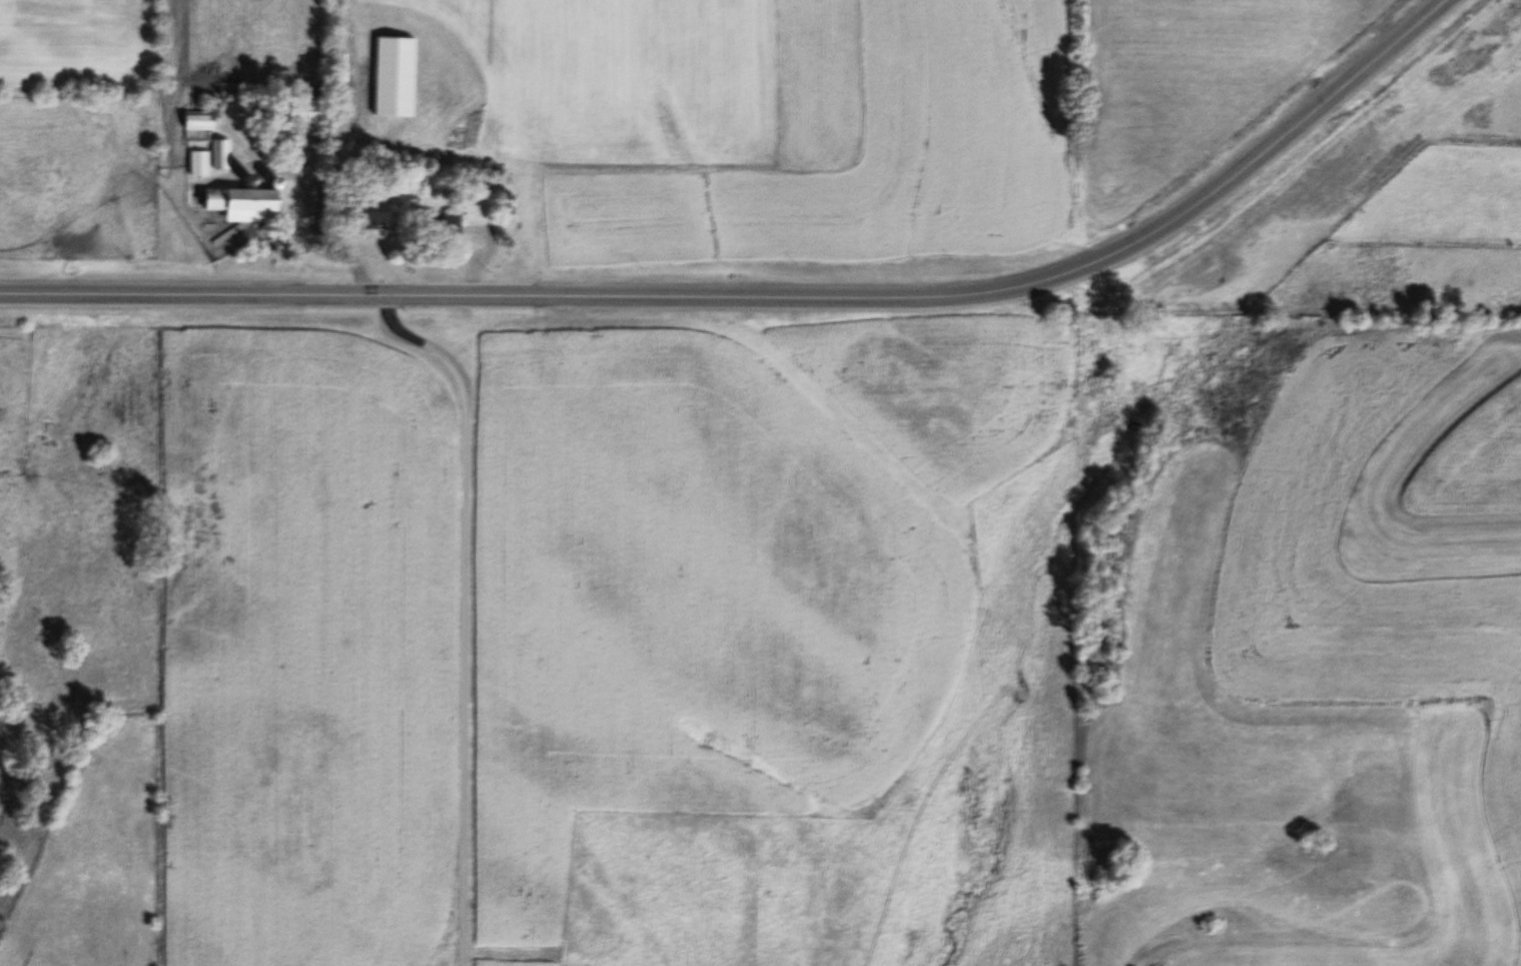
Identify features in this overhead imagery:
building: (396, 77)
building: (302, 113)
building: (200, 121)
building: (290, 136)
building: (222, 154)
building: (200, 163)
building: (241, 200)
building: (373, 213)
building: (442, 226)
road: (773, 297)
road: (467, 612)

